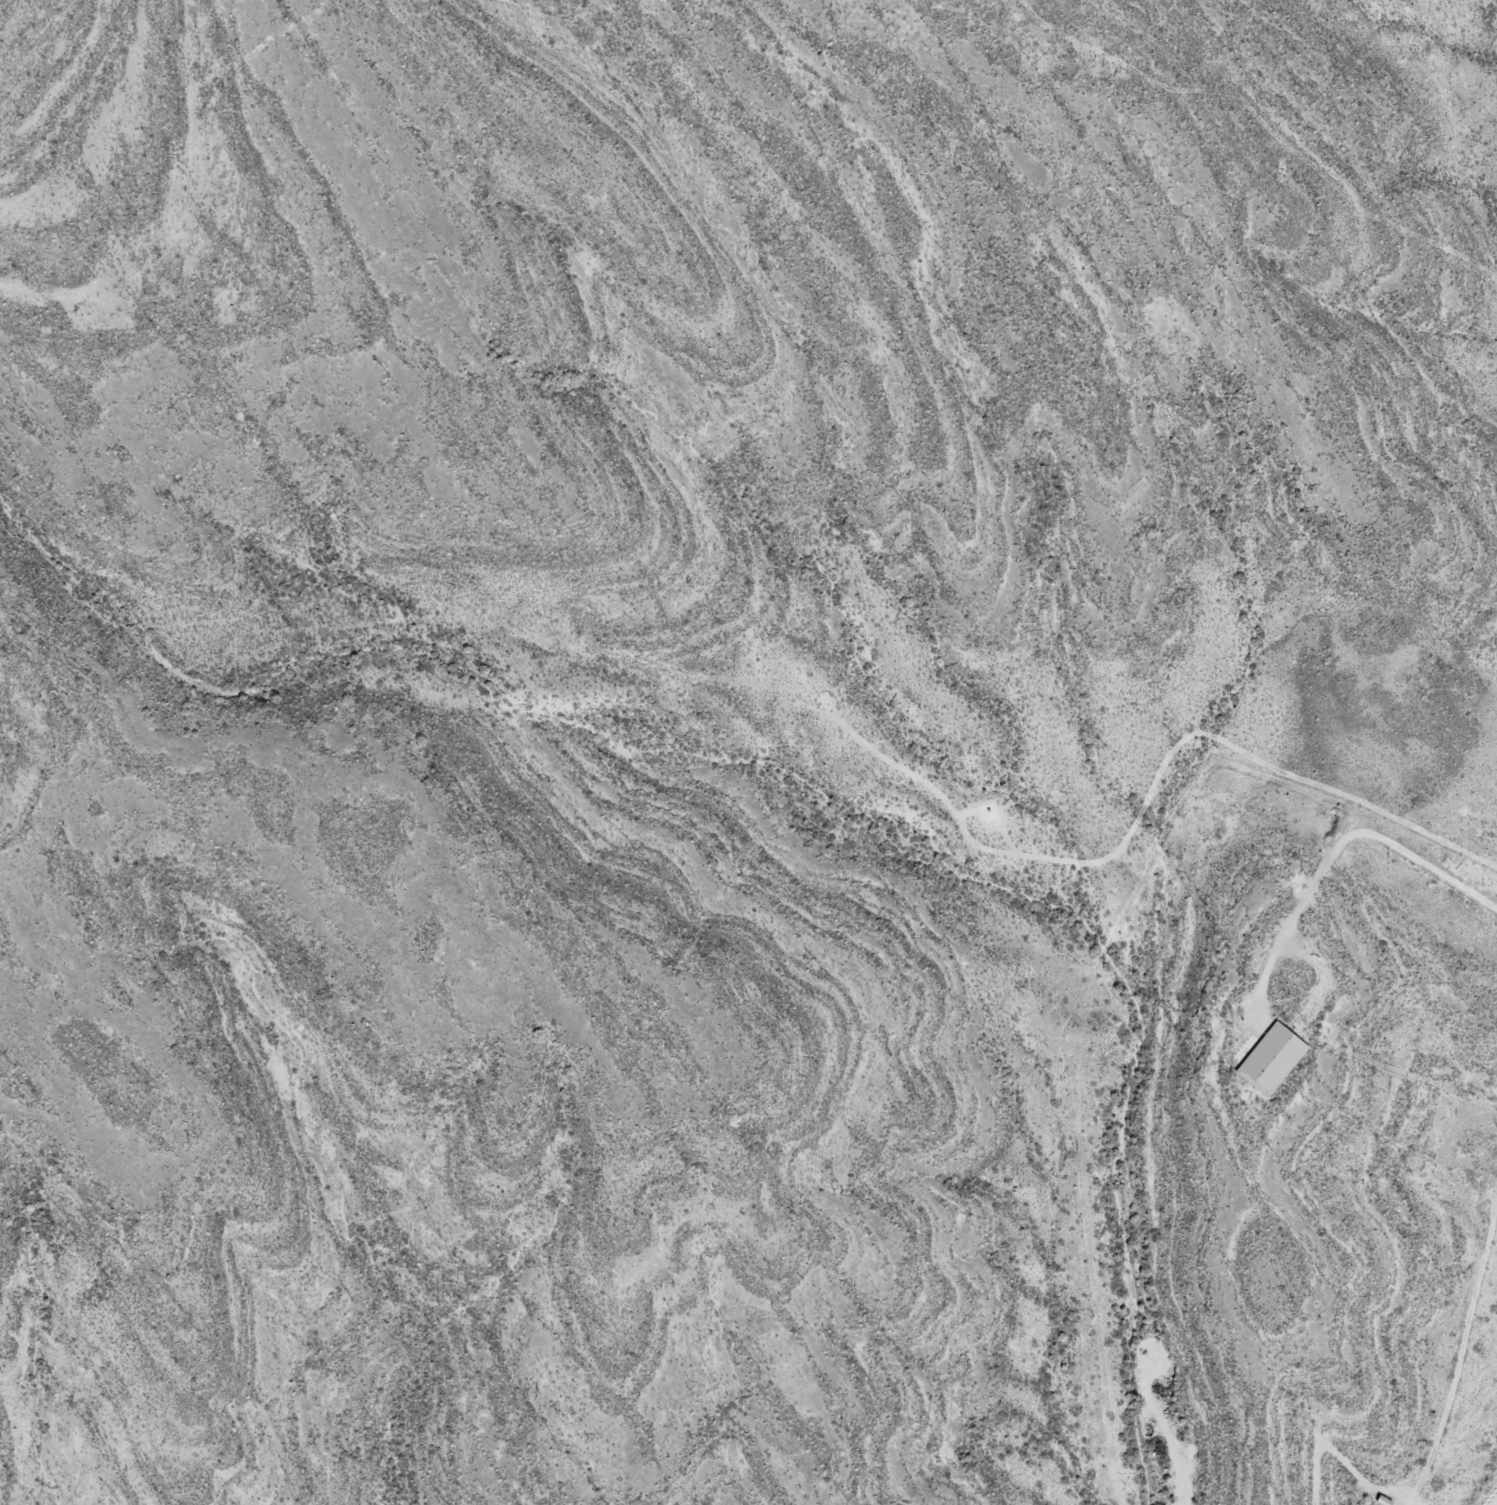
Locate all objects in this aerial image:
building: (1268, 1067)
road: (1490, 1496)

